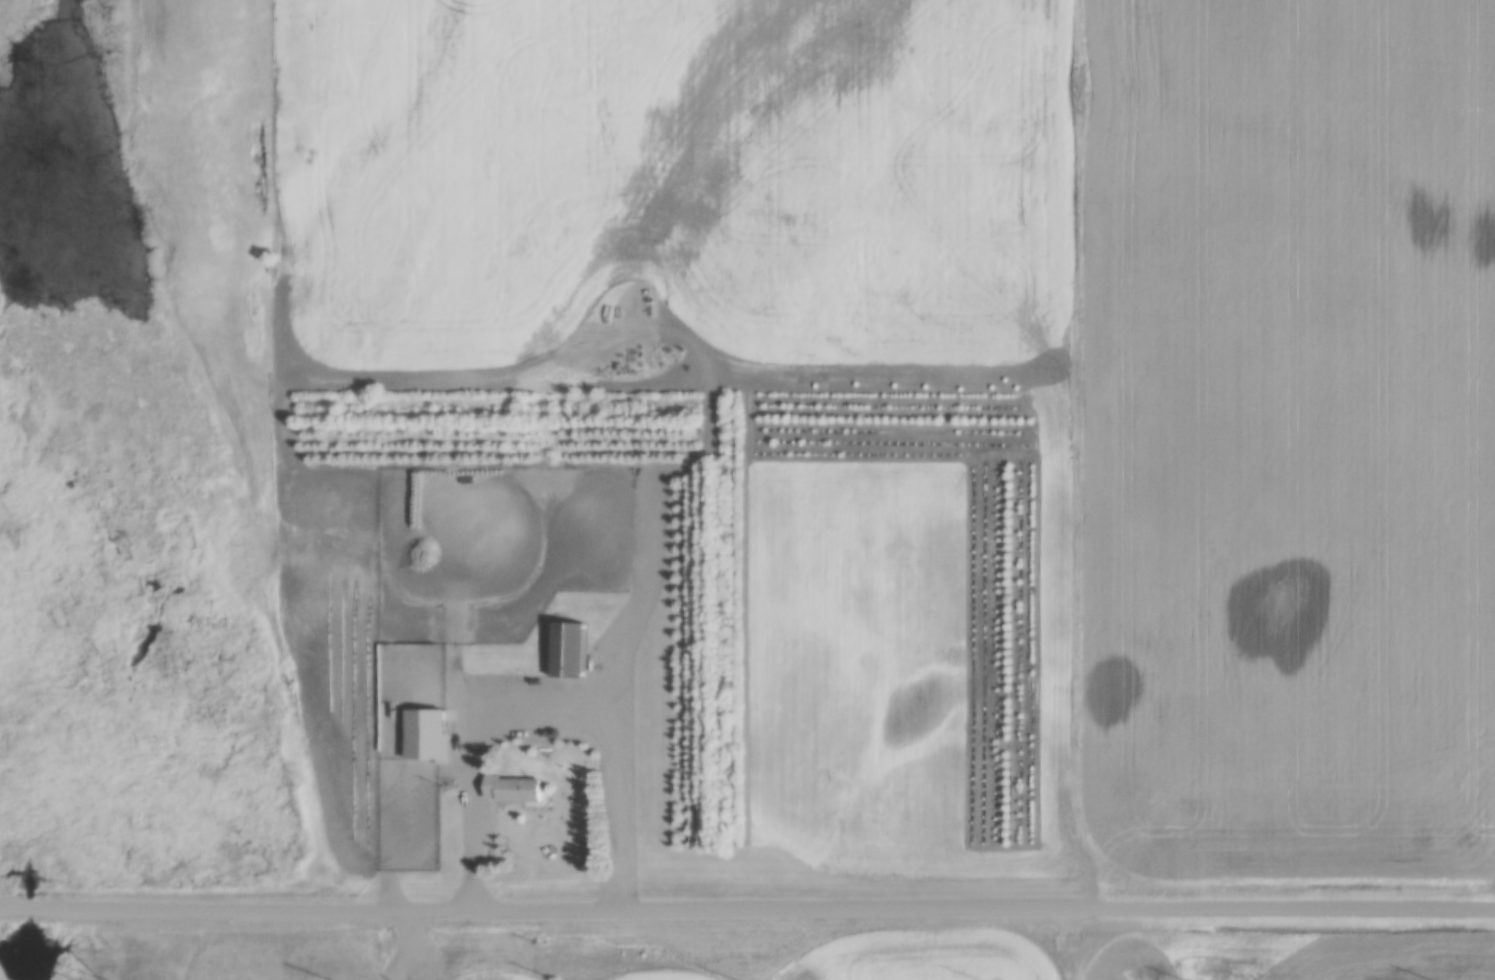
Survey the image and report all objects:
building: (568, 647)
building: (511, 678)
building: (463, 683)
road: (544, 715)
building: (400, 722)
building: (510, 790)
road: (747, 909)

